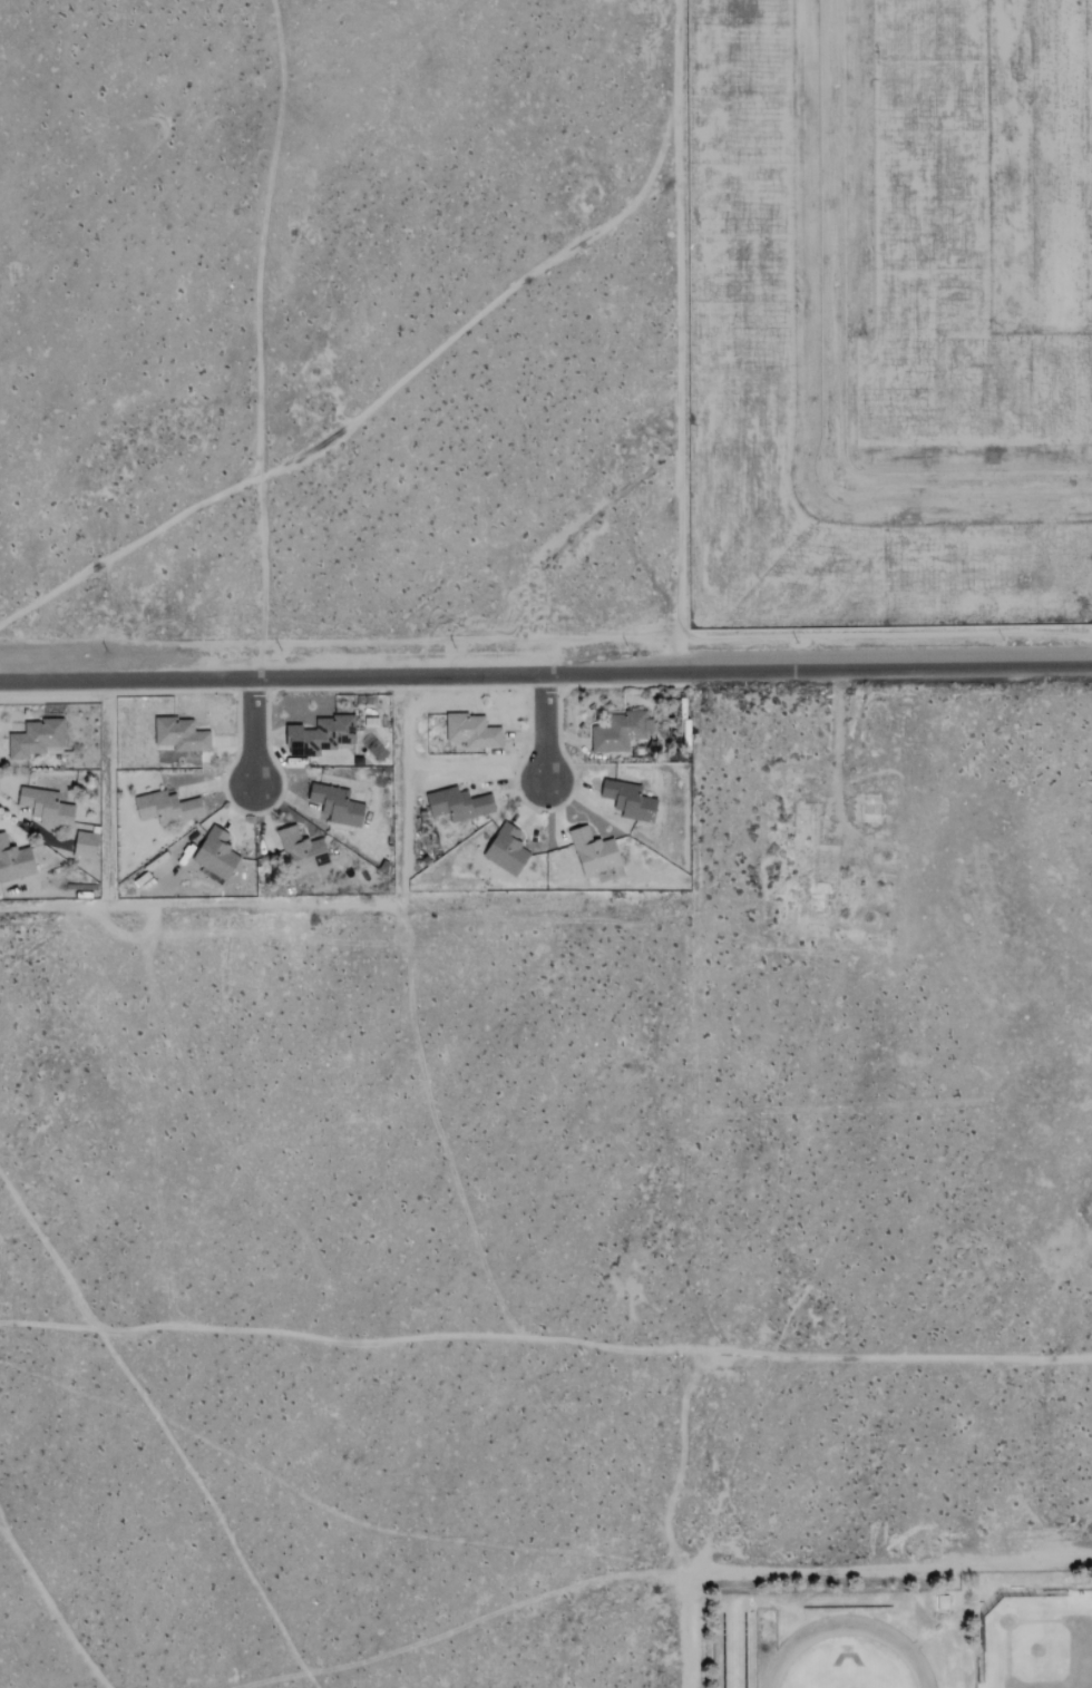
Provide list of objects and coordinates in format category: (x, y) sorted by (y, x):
road: (255, 336)
road: (835, 370)
road: (347, 416)
road: (546, 670)
road: (542, 726)
road: (252, 729)
building: (472, 732)
building: (621, 732)
building: (181, 735)
building: (320, 736)
building: (36, 739)
building: (630, 801)
building: (459, 804)
building: (337, 806)
building: (47, 808)
building: (167, 808)
building: (86, 845)
building: (507, 850)
building: (303, 852)
building: (594, 853)
building: (216, 855)
building: (14, 862)
road: (893, 1563)
park: (894, 1628)

